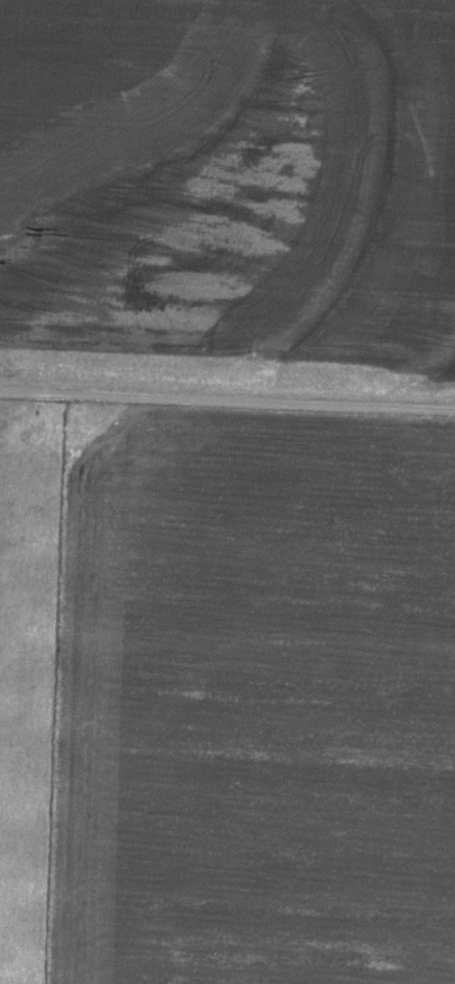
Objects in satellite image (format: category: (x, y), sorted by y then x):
road: (227, 396)

